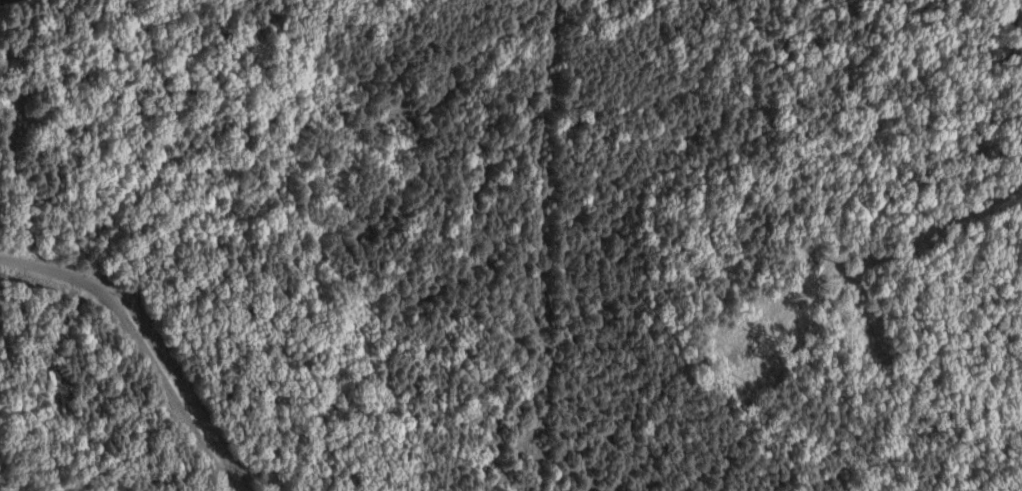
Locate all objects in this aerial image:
road: (133, 346)

